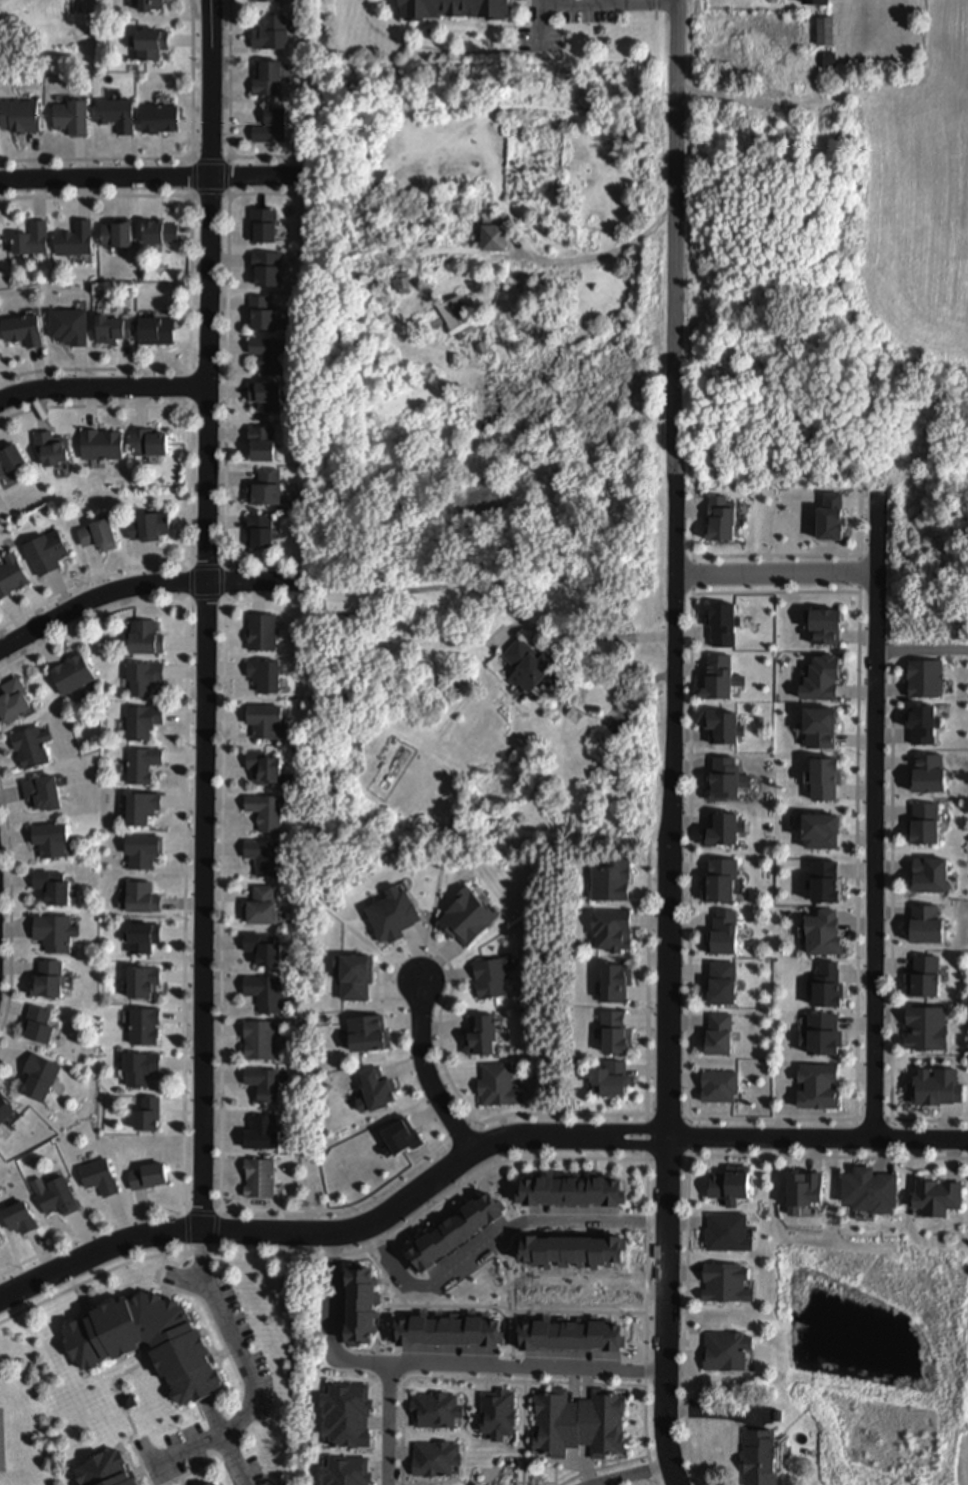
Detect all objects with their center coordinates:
building: (268, 1)
building: (816, 1)
road: (609, 3)
building: (147, 6)
road: (535, 6)
building: (455, 7)
road: (540, 24)
road: (517, 26)
building: (825, 30)
road: (656, 31)
building: (268, 33)
building: (148, 44)
building: (829, 59)
building: (264, 78)
road: (763, 103)
building: (114, 115)
building: (19, 117)
building: (69, 117)
road: (229, 118)
building: (156, 119)
building: (267, 126)
road: (192, 157)
road: (229, 157)
road: (172, 159)
road: (157, 178)
road: (229, 195)
crop: (938, 195)
road: (191, 196)
building: (260, 225)
building: (156, 233)
building: (113, 234)
building: (494, 235)
building: (29, 238)
building: (71, 240)
road: (598, 257)
building: (264, 269)
building: (401, 280)
road: (191, 282)
building: (455, 311)
building: (260, 313)
building: (66, 326)
building: (108, 330)
building: (20, 331)
building: (154, 331)
building: (265, 355)
road: (190, 368)
road: (227, 378)
road: (103, 387)
building: (263, 397)
road: (189, 406)
building: (147, 443)
building: (260, 443)
building: (98, 445)
building: (49, 449)
building: (9, 459)
building: (262, 489)
road: (189, 490)
building: (832, 518)
building: (723, 520)
road: (694, 525)
road: (861, 526)
building: (147, 527)
building: (261, 531)
building: (96, 535)
building: (44, 552)
road: (777, 555)
road: (227, 563)
road: (188, 564)
building: (10, 574)
road: (774, 576)
road: (145, 586)
road: (777, 593)
road: (225, 601)
road: (187, 602)
building: (342, 602)
road: (206, 617)
road: (518, 617)
building: (725, 624)
building: (826, 626)
building: (260, 633)
building: (142, 639)
road: (921, 651)
building: (533, 667)
building: (69, 675)
building: (262, 675)
building: (141, 678)
building: (723, 678)
building: (928, 679)
building: (824, 680)
building: (12, 701)
building: (140, 722)
building: (263, 722)
building: (924, 724)
building: (720, 726)
building: (823, 727)
road: (672, 743)
building: (28, 747)
building: (140, 766)
building: (260, 770)
building: (930, 774)
building: (723, 778)
building: (827, 781)
building: (39, 794)
building: (139, 808)
building: (263, 812)
road: (873, 816)
building: (929, 825)
building: (723, 832)
building: (824, 832)
building: (48, 840)
building: (140, 852)
building: (261, 857)
road: (690, 863)
road: (858, 872)
building: (927, 877)
building: (609, 881)
building: (718, 881)
building: (823, 884)
building: (50, 888)
road: (892, 893)
building: (137, 896)
road: (186, 901)
road: (435, 905)
building: (258, 906)
road: (11, 907)
building: (390, 915)
building: (469, 919)
building: (925, 925)
building: (610, 931)
building: (52, 933)
building: (721, 933)
building: (821, 934)
building: (141, 938)
building: (261, 949)
building: (357, 977)
building: (488, 978)
building: (45, 980)
building: (921, 980)
building: (613, 983)
building: (718, 983)
building: (140, 984)
building: (826, 986)
road: (648, 989)
building: (263, 993)
road: (221, 997)
building: (35, 1026)
building: (141, 1028)
building: (922, 1028)
building: (613, 1033)
building: (364, 1035)
building: (823, 1035)
building: (719, 1036)
building: (478, 1037)
building: (256, 1040)
road: (440, 1045)
building: (137, 1069)
road: (424, 1070)
building: (38, 1076)
building: (609, 1081)
building: (260, 1084)
building: (497, 1085)
building: (720, 1087)
building: (815, 1088)
building: (937, 1088)
building: (5, 1107)
road: (562, 1114)
building: (143, 1115)
road: (770, 1120)
road: (920, 1121)
building: (258, 1135)
road: (570, 1135)
road: (817, 1157)
road: (456, 1163)
building: (97, 1177)
building: (145, 1178)
building: (256, 1178)
road: (506, 1183)
building: (729, 1187)
building: (573, 1189)
building: (805, 1191)
building: (868, 1193)
building: (935, 1197)
building: (55, 1198)
road: (439, 1203)
road: (202, 1213)
building: (18, 1219)
road: (186, 1228)
road: (216, 1228)
building: (454, 1229)
road: (494, 1238)
road: (200, 1253)
road: (97, 1254)
road: (91, 1279)
building: (722, 1282)
building: (360, 1303)
road: (416, 1306)
road: (646, 1311)
road: (687, 1311)
road: (551, 1312)
building: (448, 1330)
building: (570, 1335)
building: (150, 1343)
building: (723, 1351)
park: (876, 1357)
parking lot: (250, 1362)
road: (436, 1364)
road: (248, 1373)
road: (412, 1378)
road: (585, 1384)
park: (20, 1406)
building: (436, 1409)
building: (347, 1414)
building: (499, 1414)
building: (579, 1419)
road: (389, 1424)
road: (524, 1433)
park: (2, 1441)
road: (223, 1442)
building: (435, 1457)
building: (760, 1457)
road: (604, 1467)
building: (108, 1470)
building: (347, 1471)
road: (556, 1475)
road: (633, 1475)
building: (212, 1484)

